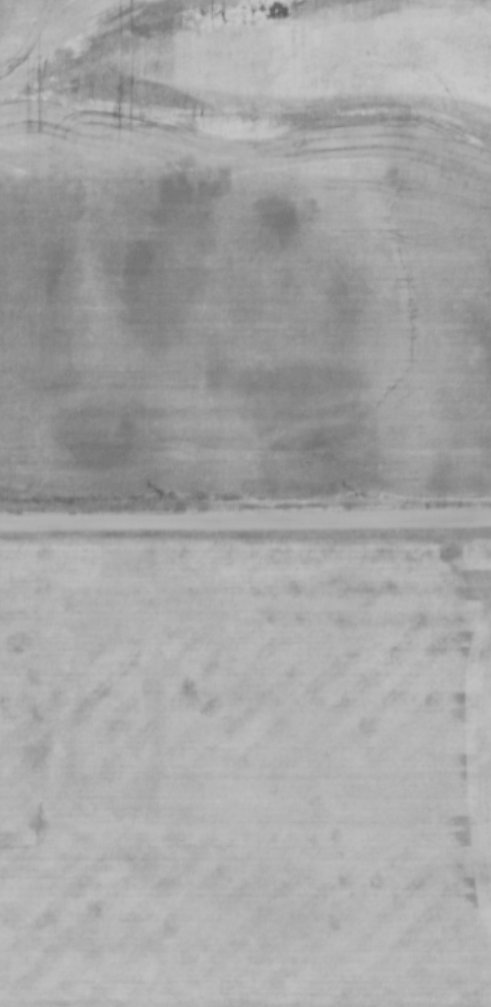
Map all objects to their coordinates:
road: (245, 531)

